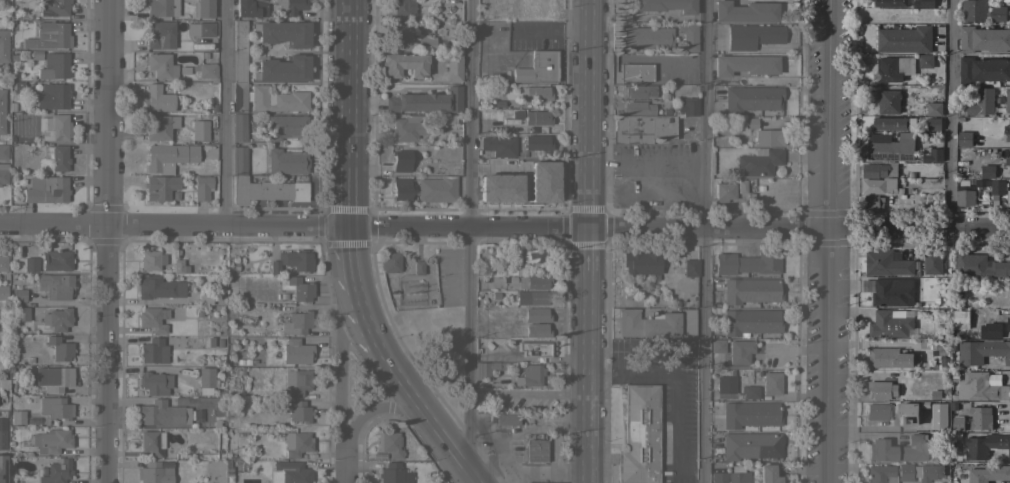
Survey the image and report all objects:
building: (1004, 1)
building: (890, 3)
building: (923, 3)
building: (665, 5)
building: (403, 6)
building: (53, 7)
building: (161, 7)
building: (250, 7)
building: (203, 8)
building: (973, 10)
building: (744, 11)
building: (997, 14)
building: (200, 29)
building: (284, 32)
building: (160, 34)
building: (48, 35)
building: (752, 35)
building: (688, 36)
building: (648, 37)
building: (410, 39)
building: (983, 39)
building: (904, 40)
building: (3, 45)
building: (35, 54)
building: (404, 64)
building: (54, 65)
building: (160, 65)
building: (744, 65)
building: (239, 66)
building: (453, 67)
building: (539, 67)
building: (901, 67)
building: (283, 68)
building: (183, 70)
building: (206, 70)
building: (983, 70)
building: (632, 72)
building: (17, 85)
road: (349, 87)
building: (639, 91)
building: (537, 93)
building: (52, 96)
building: (160, 98)
building: (751, 98)
building: (276, 99)
building: (426, 100)
building: (1007, 101)
building: (888, 102)
building: (980, 103)
building: (687, 106)
building: (638, 108)
building: (933, 109)
building: (2, 110)
road: (223, 113)
road: (588, 114)
road: (829, 115)
road: (951, 115)
building: (536, 117)
building: (447, 118)
building: (749, 122)
building: (892, 124)
building: (933, 124)
building: (286, 126)
building: (54, 127)
building: (161, 127)
building: (238, 127)
building: (407, 128)
building: (641, 128)
building: (199, 130)
building: (1007, 132)
building: (767, 137)
building: (964, 139)
building: (536, 142)
building: (499, 146)
building: (890, 147)
building: (3, 151)
building: (931, 155)
building: (168, 156)
building: (59, 158)
building: (400, 160)
building: (286, 161)
building: (1007, 161)
building: (759, 163)
building: (1009, 169)
building: (878, 171)
building: (987, 172)
building: (3, 173)
building: (542, 181)
building: (260, 184)
building: (740, 186)
building: (879, 186)
building: (161, 187)
building: (202, 187)
building: (498, 187)
building: (46, 189)
building: (400, 189)
building: (436, 189)
building: (724, 191)
building: (1000, 193)
road: (349, 201)
building: (873, 202)
road: (293, 227)
road: (799, 229)
road: (102, 241)
road: (468, 241)
road: (705, 241)
building: (533, 255)
building: (56, 260)
building: (151, 260)
building: (292, 261)
building: (389, 262)
building: (640, 262)
building: (932, 262)
building: (3, 263)
building: (747, 263)
building: (30, 264)
building: (886, 264)
building: (179, 266)
building: (979, 266)
building: (418, 267)
building: (690, 268)
building: (523, 274)
road: (350, 277)
building: (495, 284)
building: (55, 286)
building: (158, 287)
building: (296, 287)
building: (751, 291)
building: (3, 292)
building: (892, 292)
building: (18, 295)
building: (494, 295)
building: (1009, 295)
building: (204, 297)
building: (531, 297)
building: (491, 311)
building: (21, 314)
building: (531, 314)
building: (153, 318)
building: (57, 319)
building: (960, 320)
building: (688, 322)
building: (750, 322)
building: (297, 323)
building: (646, 323)
building: (890, 324)
building: (1007, 325)
building: (535, 330)
building: (990, 331)
road: (352, 334)
road: (370, 336)
road: (588, 339)
building: (717, 346)
building: (59, 348)
building: (533, 348)
building: (153, 351)
building: (296, 351)
building: (740, 351)
building: (981, 352)
building: (936, 353)
road: (828, 356)
building: (891, 359)
building: (943, 363)
building: (486, 368)
building: (529, 375)
building: (53, 377)
building: (206, 377)
building: (297, 381)
building: (154, 382)
road: (398, 382)
building: (771, 383)
building: (725, 384)
building: (979, 388)
building: (881, 390)
building: (749, 391)
road: (528, 392)
road: (674, 394)
building: (935, 395)
road: (340, 396)
building: (923, 405)
building: (55, 407)
road: (375, 410)
building: (299, 411)
building: (876, 411)
building: (156, 412)
building: (750, 414)
building: (907, 414)
building: (938, 416)
building: (17, 417)
building: (979, 418)
building: (506, 419)
building: (957, 423)
road: (526, 428)
building: (3, 429)
building: (639, 435)
road: (446, 440)
building: (51, 441)
building: (151, 442)
building: (297, 443)
building: (390, 444)
building: (750, 445)
building: (985, 446)
building: (898, 449)
building: (535, 450)
road: (499, 462)
road: (344, 466)
road: (587, 466)
building: (2, 468)
road: (547, 470)
building: (54, 471)
building: (904, 471)
building: (289, 472)
road: (507, 472)
building: (927, 472)
building: (154, 473)
building: (393, 474)
road: (474, 474)
building: (768, 474)
building: (880, 474)
building: (988, 474)
building: (737, 475)
building: (718, 477)
building: (551, 482)

